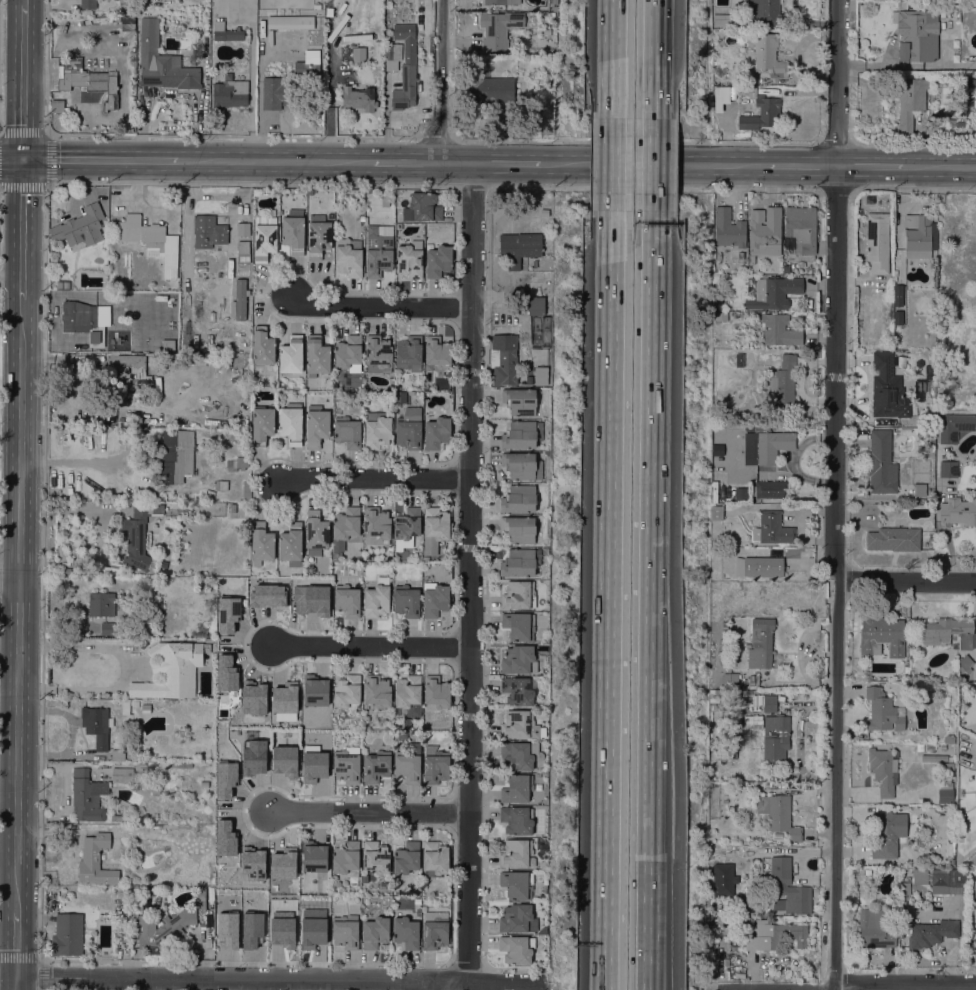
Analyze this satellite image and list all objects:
road: (22, 3)
building: (499, 3)
building: (554, 3)
building: (88, 4)
building: (125, 4)
building: (764, 12)
building: (721, 20)
building: (126, 22)
building: (290, 22)
building: (498, 29)
building: (121, 30)
building: (917, 31)
building: (226, 32)
building: (392, 51)
building: (546, 51)
building: (358, 54)
building: (768, 55)
road: (614, 59)
road: (653, 59)
building: (162, 62)
building: (308, 66)
building: (391, 66)
road: (438, 80)
road: (22, 82)
building: (90, 84)
building: (403, 88)
building: (489, 88)
building: (230, 94)
building: (275, 94)
building: (359, 97)
building: (716, 99)
building: (910, 101)
building: (759, 110)
building: (950, 122)
road: (165, 135)
road: (435, 138)
road: (592, 141)
road: (836, 143)
street lamp: (695, 144)
street lamp: (810, 145)
road: (913, 145)
road: (11, 156)
traffic signals: (23, 157)
road: (101, 158)
road: (48, 159)
road: (275, 160)
road: (403, 161)
road: (602, 163)
road: (613, 164)
road: (652, 165)
road: (802, 165)
road: (905, 166)
street lamp: (751, 188)
street lamp: (862, 189)
road: (913, 190)
building: (422, 207)
building: (330, 215)
building: (79, 224)
building: (398, 226)
road: (22, 228)
building: (801, 228)
building: (728, 229)
building: (242, 230)
building: (293, 231)
building: (208, 232)
building: (765, 232)
building: (264, 234)
building: (318, 236)
building: (919, 236)
building: (149, 237)
building: (877, 242)
building: (789, 245)
building: (519, 247)
building: (378, 250)
building: (243, 251)
building: (348, 257)
building: (718, 257)
building: (410, 259)
building: (438, 261)
building: (751, 261)
road: (11, 277)
building: (59, 285)
building: (66, 285)
building: (774, 292)
building: (898, 294)
building: (239, 299)
road: (379, 305)
building: (536, 306)
building: (721, 317)
building: (898, 317)
building: (243, 320)
building: (82, 322)
building: (779, 330)
building: (112, 344)
building: (161, 346)
building: (262, 347)
building: (348, 353)
building: (409, 353)
building: (378, 354)
building: (437, 354)
building: (291, 355)
building: (317, 357)
building: (504, 359)
building: (739, 360)
building: (901, 362)
building: (134, 370)
building: (929, 372)
building: (540, 376)
building: (783, 383)
building: (887, 389)
building: (410, 393)
building: (399, 398)
building: (519, 401)
building: (291, 423)
building: (910, 423)
building: (262, 425)
building: (316, 426)
building: (954, 427)
building: (749, 428)
building: (409, 429)
building: (377, 431)
building: (436, 431)
building: (347, 432)
building: (522, 435)
building: (768, 447)
building: (717, 450)
building: (176, 456)
building: (881, 463)
road: (76, 464)
building: (237, 464)
building: (522, 466)
building: (948, 469)
road: (373, 478)
building: (221, 485)
building: (246, 491)
building: (772, 491)
building: (714, 492)
road: (834, 493)
building: (721, 494)
building: (741, 494)
building: (519, 499)
building: (959, 511)
building: (716, 513)
road: (649, 516)
building: (376, 525)
building: (406, 526)
building: (345, 529)
building: (435, 529)
building: (518, 529)
building: (772, 529)
building: (316, 533)
building: (138, 534)
road: (100, 535)
building: (894, 539)
building: (714, 543)
building: (261, 544)
building: (291, 544)
building: (418, 558)
building: (426, 559)
building: (521, 562)
building: (759, 566)
road: (469, 570)
road: (610, 578)
road: (11, 582)
road: (907, 582)
building: (201, 589)
building: (267, 595)
building: (517, 595)
building: (377, 598)
building: (407, 599)
building: (434, 599)
building: (311, 600)
building: (347, 600)
building: (101, 604)
road: (22, 605)
building: (227, 614)
building: (140, 625)
building: (518, 626)
building: (108, 629)
building: (949, 633)
building: (881, 636)
building: (760, 643)
building: (143, 644)
road: (373, 646)
building: (212, 657)
building: (519, 660)
building: (964, 664)
building: (906, 669)
building: (173, 670)
road: (123, 671)
building: (225, 674)
building: (751, 677)
building: (729, 678)
building: (751, 683)
building: (314, 690)
building: (377, 691)
building: (518, 691)
building: (713, 691)
building: (437, 692)
building: (348, 693)
building: (409, 695)
building: (254, 697)
building: (711, 697)
building: (284, 702)
building: (135, 703)
building: (769, 703)
building: (126, 708)
building: (146, 708)
road: (10, 711)
building: (883, 711)
building: (407, 723)
building: (521, 725)
building: (97, 726)
building: (402, 735)
building: (772, 736)
building: (949, 738)
building: (721, 742)
building: (930, 747)
building: (919, 748)
building: (948, 748)
building: (958, 751)
building: (520, 755)
building: (118, 756)
building: (246, 756)
building: (732, 757)
building: (94, 758)
building: (283, 761)
building: (409, 763)
building: (180, 764)
building: (313, 764)
building: (436, 764)
building: (347, 765)
building: (376, 766)
building: (882, 770)
building: (122, 775)
building: (225, 779)
building: (153, 784)
road: (9, 786)
building: (517, 789)
road: (67, 792)
building: (87, 796)
building: (945, 796)
building: (307, 799)
building: (140, 810)
road: (367, 811)
building: (117, 818)
building: (782, 818)
building: (516, 820)
building: (961, 822)
building: (239, 826)
building: (316, 826)
building: (138, 827)
building: (886, 835)
building: (224, 838)
building: (245, 842)
building: (723, 853)
building: (517, 854)
building: (750, 856)
building: (313, 857)
building: (376, 857)
building: (407, 858)
building: (435, 859)
building: (346, 860)
building: (226, 861)
building: (95, 862)
building: (252, 863)
building: (296, 868)
building: (867, 872)
building: (907, 873)
building: (365, 879)
building: (920, 879)
building: (359, 880)
building: (948, 881)
building: (517, 884)
building: (904, 888)
building: (788, 889)
building: (971, 890)
building: (201, 891)
building: (210, 899)
building: (902, 901)
building: (201, 905)
road: (646, 906)
building: (517, 919)
building: (163, 928)
building: (312, 928)
building: (227, 929)
building: (874, 929)
building: (434, 930)
building: (251, 931)
building: (283, 931)
building: (345, 931)
building: (375, 932)
building: (406, 933)
building: (932, 933)
building: (67, 935)
building: (775, 935)
road: (16, 944)
building: (517, 949)
road: (596, 967)
road: (606, 967)
road: (8, 976)
building: (739, 976)
road: (276, 978)
road: (15, 983)
road: (143, 984)
road: (428, 984)
road: (903, 984)
road: (823, 988)
road: (831, 988)

